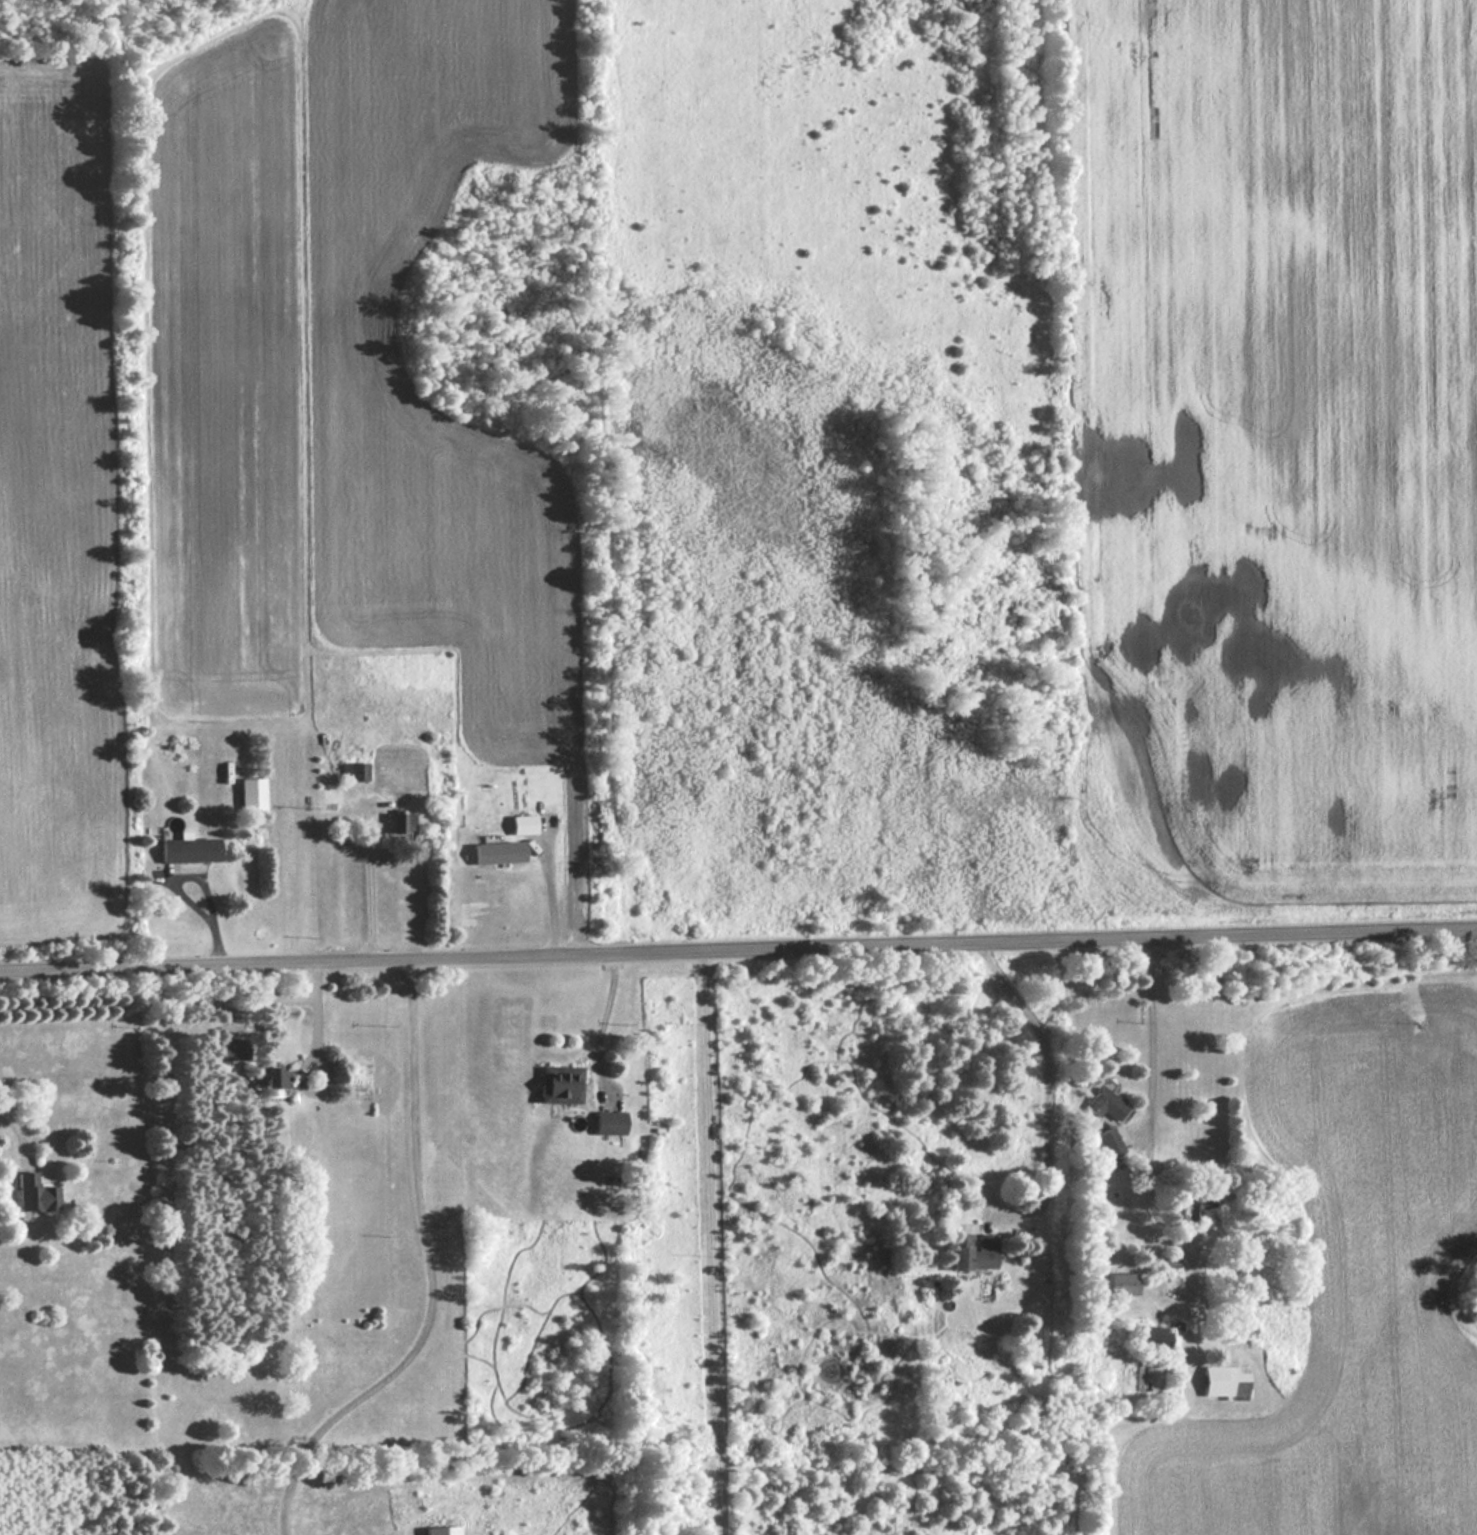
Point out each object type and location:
building: (354, 771)
building: (252, 794)
building: (402, 822)
building: (190, 849)
road: (738, 947)
building: (233, 1049)
building: (276, 1081)
building: (559, 1084)
building: (1106, 1104)
building: (610, 1122)
building: (1110, 1143)
building: (36, 1194)
building: (1200, 1204)
building: (974, 1252)
building: (1121, 1284)
building: (1172, 1286)
building: (1037, 1337)
building: (1157, 1339)
building: (1225, 1382)

